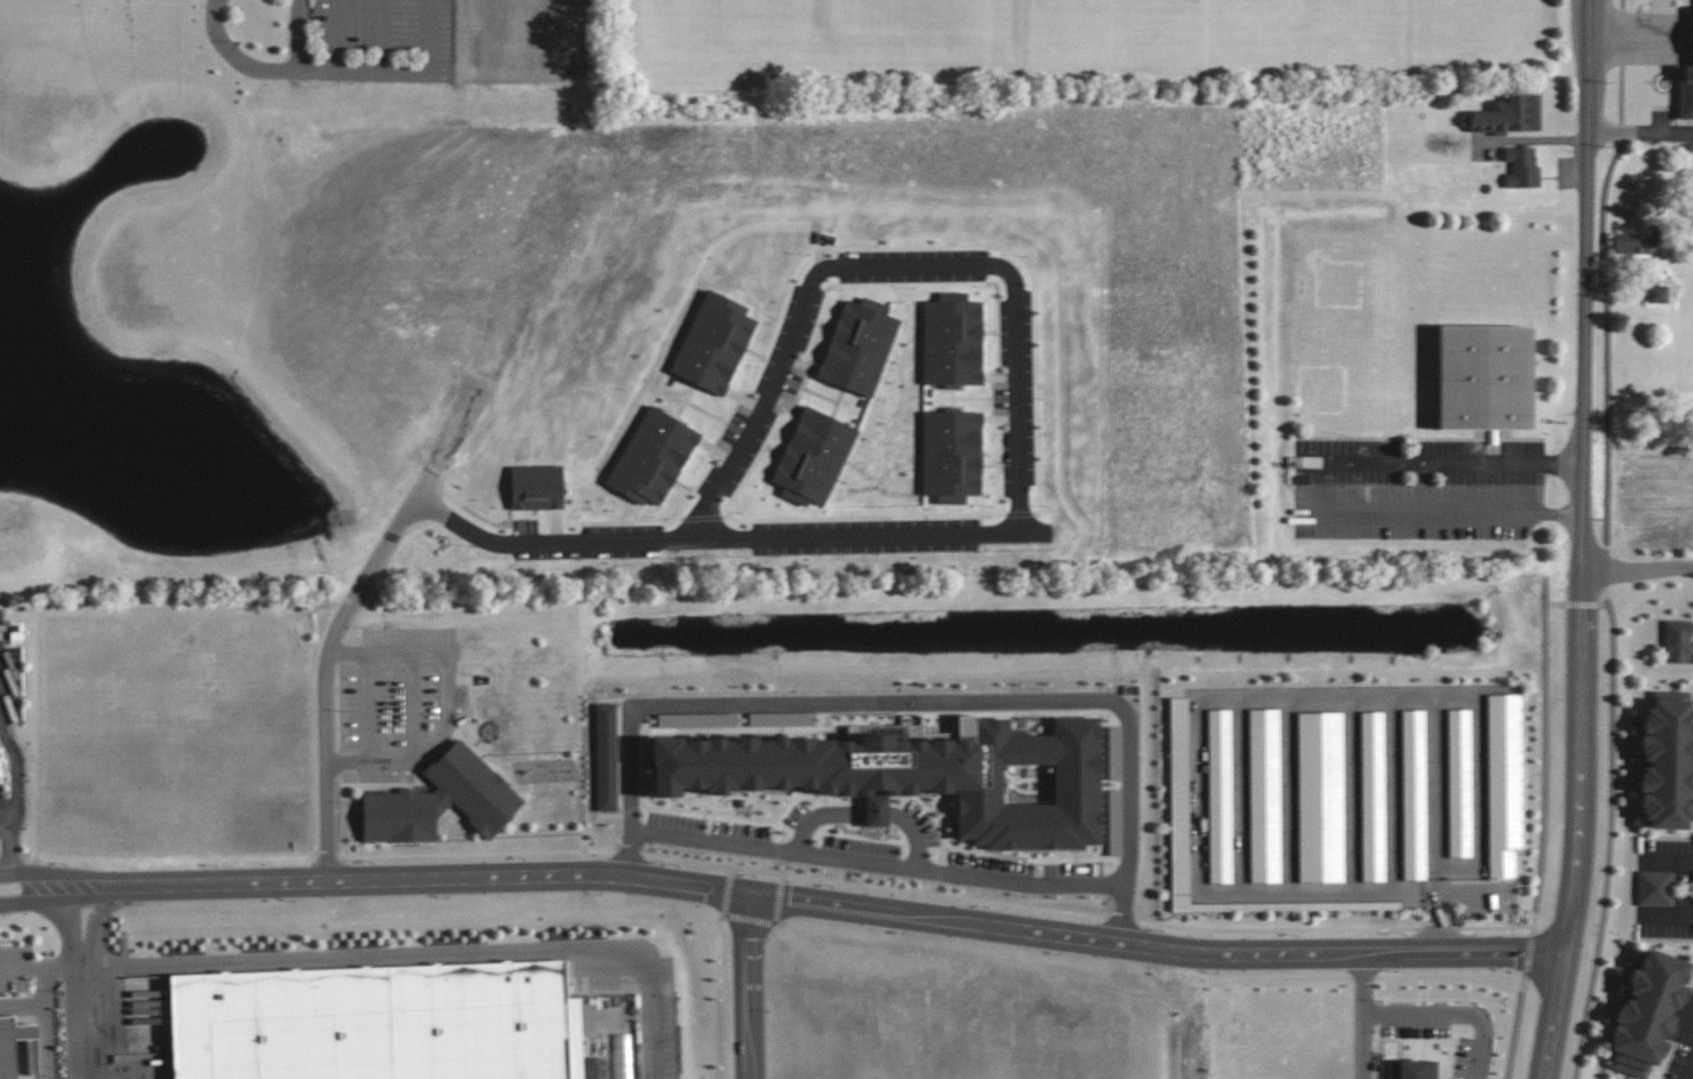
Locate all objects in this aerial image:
road: (298, 34)
road: (340, 35)
road: (382, 36)
road: (426, 36)
road: (292, 70)
building: (1686, 89)
building: (1510, 114)
road: (1640, 133)
building: (1522, 167)
building: (1637, 242)
road: (1604, 272)
road: (1586, 288)
building: (1658, 294)
building: (1484, 378)
building: (1379, 447)
road: (1446, 462)
road: (1028, 473)
road: (1445, 511)
road: (1605, 569)
road: (1637, 571)
road: (1576, 602)
building: (1676, 641)
road: (389, 656)
road: (328, 662)
road: (913, 701)
road: (370, 710)
road: (449, 715)
road: (417, 754)
road: (1545, 754)
building: (606, 758)
building: (1666, 761)
road: (18, 768)
building: (4, 771)
building: (920, 775)
road: (1481, 780)
building: (1459, 783)
building: (1504, 783)
road: (1202, 792)
building: (1414, 794)
building: (1265, 795)
building: (1219, 796)
building: (1320, 796)
building: (1373, 796)
building: (441, 802)
building: (1179, 802)
road: (868, 811)
road: (4, 824)
road: (1440, 824)
road: (1580, 828)
road: (1610, 836)
road: (10, 847)
road: (1668, 861)
road: (877, 865)
road: (53, 876)
building: (1654, 888)
road: (53, 900)
road: (836, 906)
road: (1668, 916)
road: (102, 917)
road: (71, 933)
road: (1528, 954)
road: (416, 955)
road: (38, 967)
road: (750, 986)
road: (724, 995)
road: (1447, 1013)
building: (1648, 1013)
road: (1357, 1016)
road: (45, 1023)
building: (372, 1023)
road: (81, 1024)
road: (1515, 1027)
building: (12, 1044)
building: (623, 1056)
road: (1689, 1067)
building: (1412, 1069)

